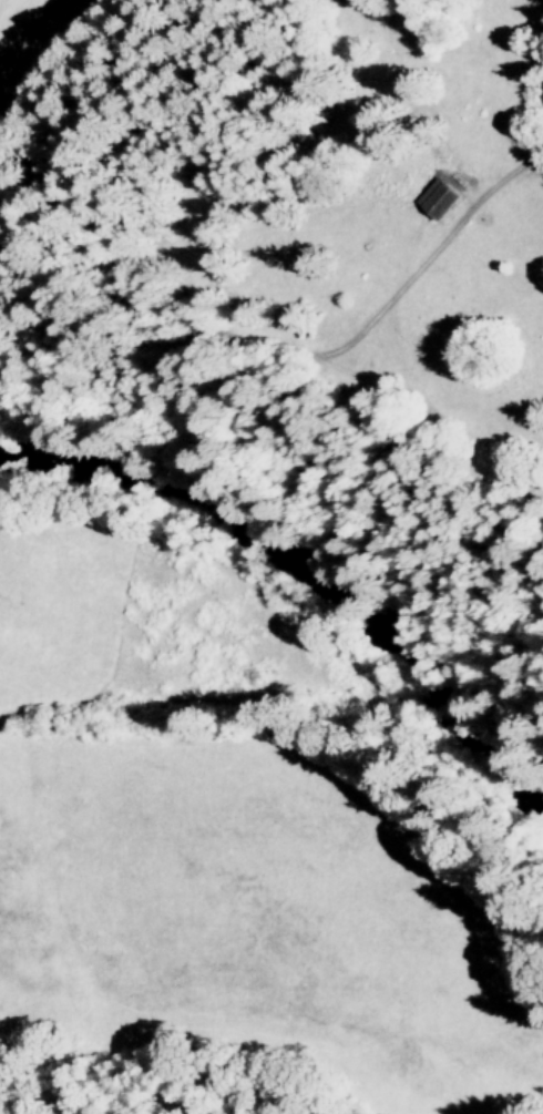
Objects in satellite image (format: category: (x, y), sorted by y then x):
building: (441, 196)
river: (291, 592)

